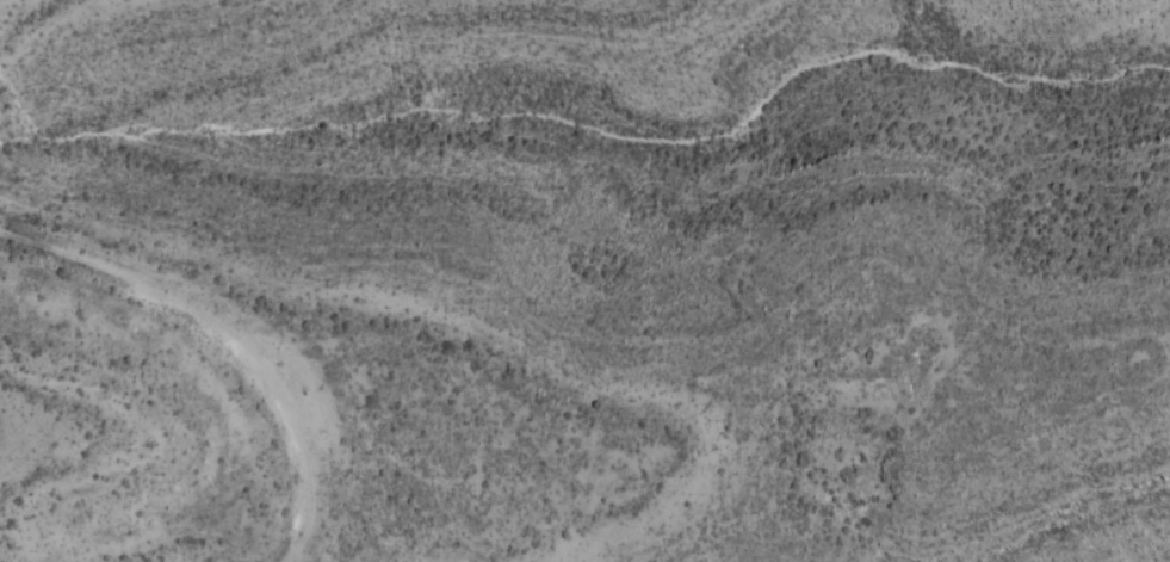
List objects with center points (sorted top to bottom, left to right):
park: (562, 297)
road: (230, 336)

